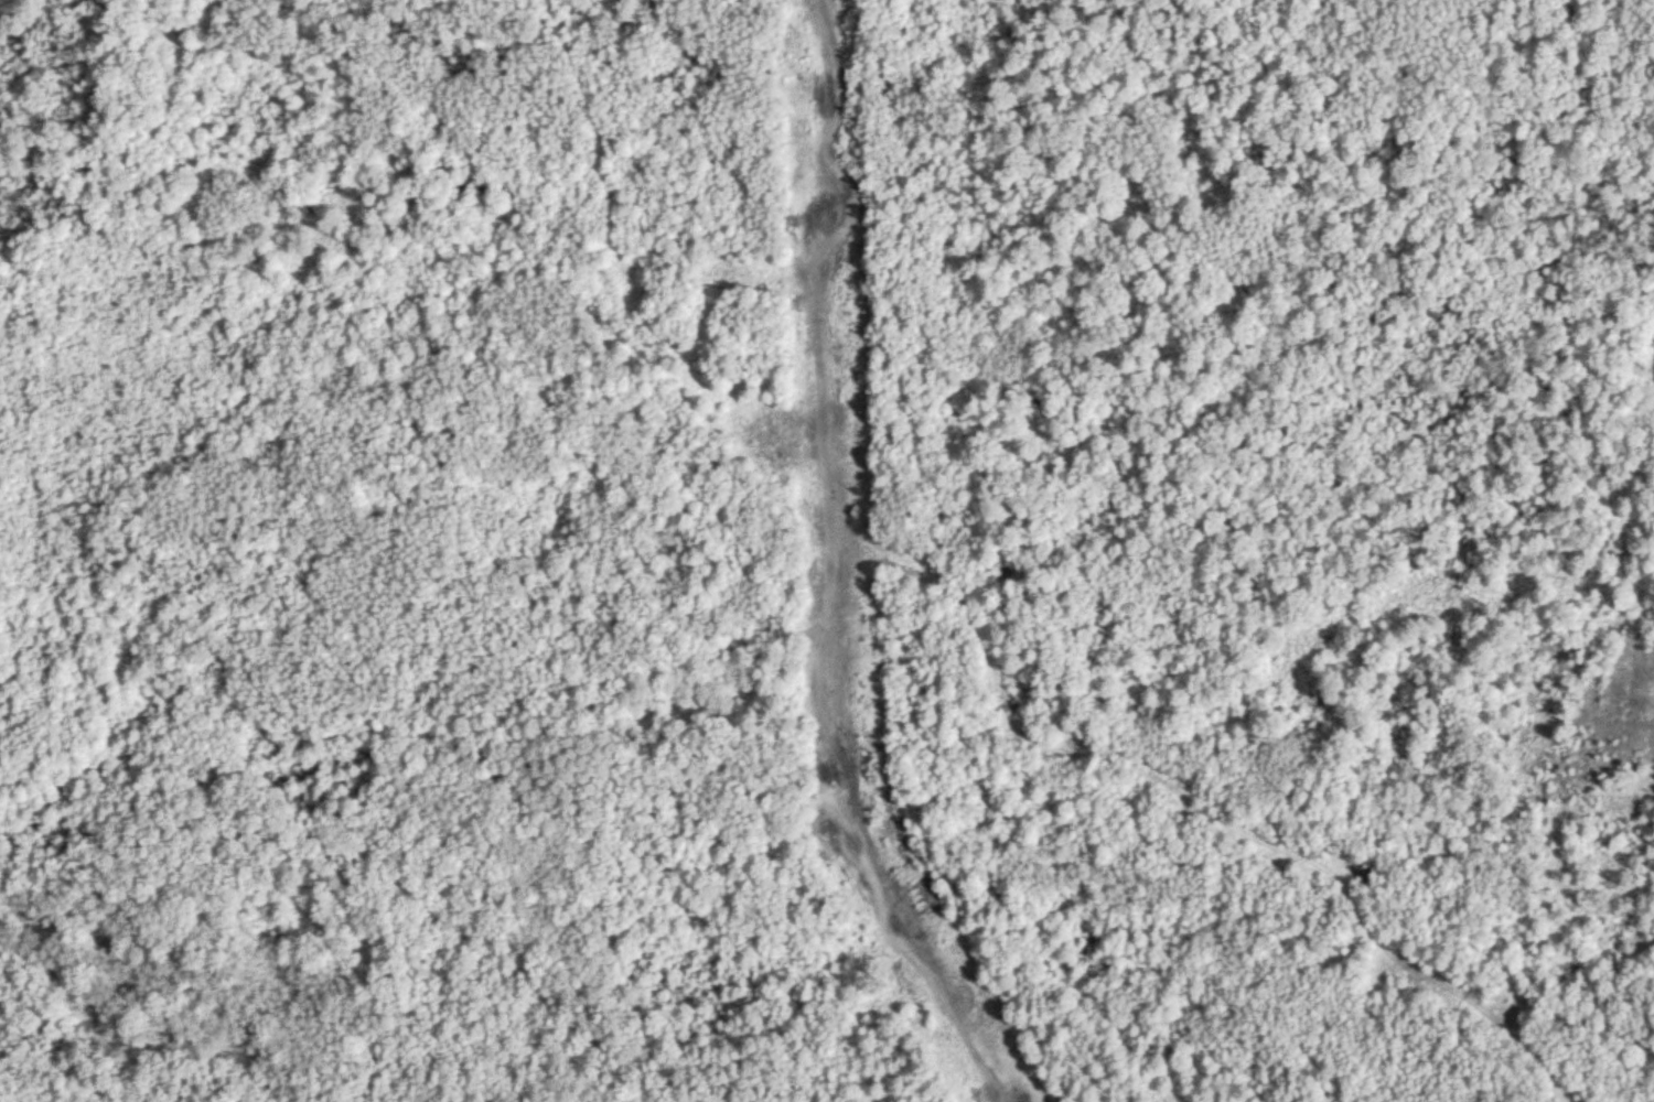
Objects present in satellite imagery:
road: (805, 566)
road: (1527, 1038)

